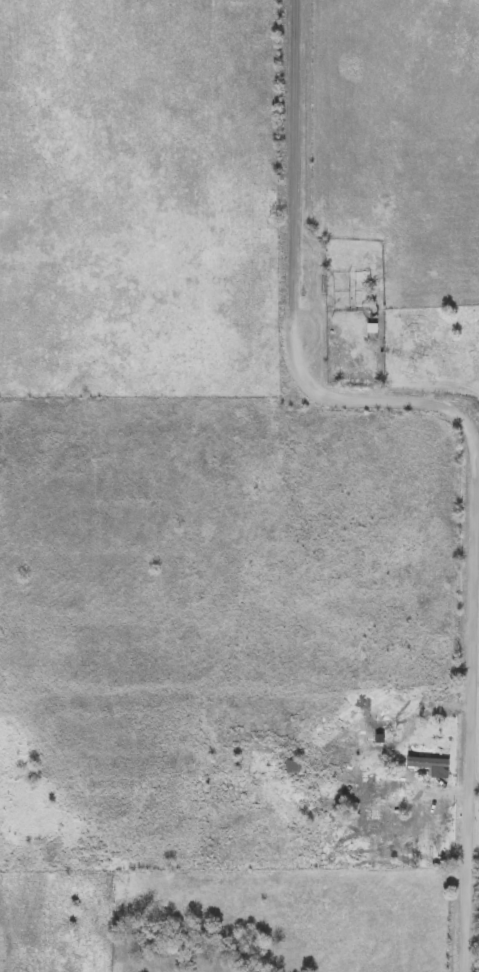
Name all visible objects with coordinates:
road: (298, 169)
road: (378, 400)
road: (474, 667)
building: (417, 760)
building: (293, 767)
road: (475, 790)
building: (416, 835)
road: (470, 893)

